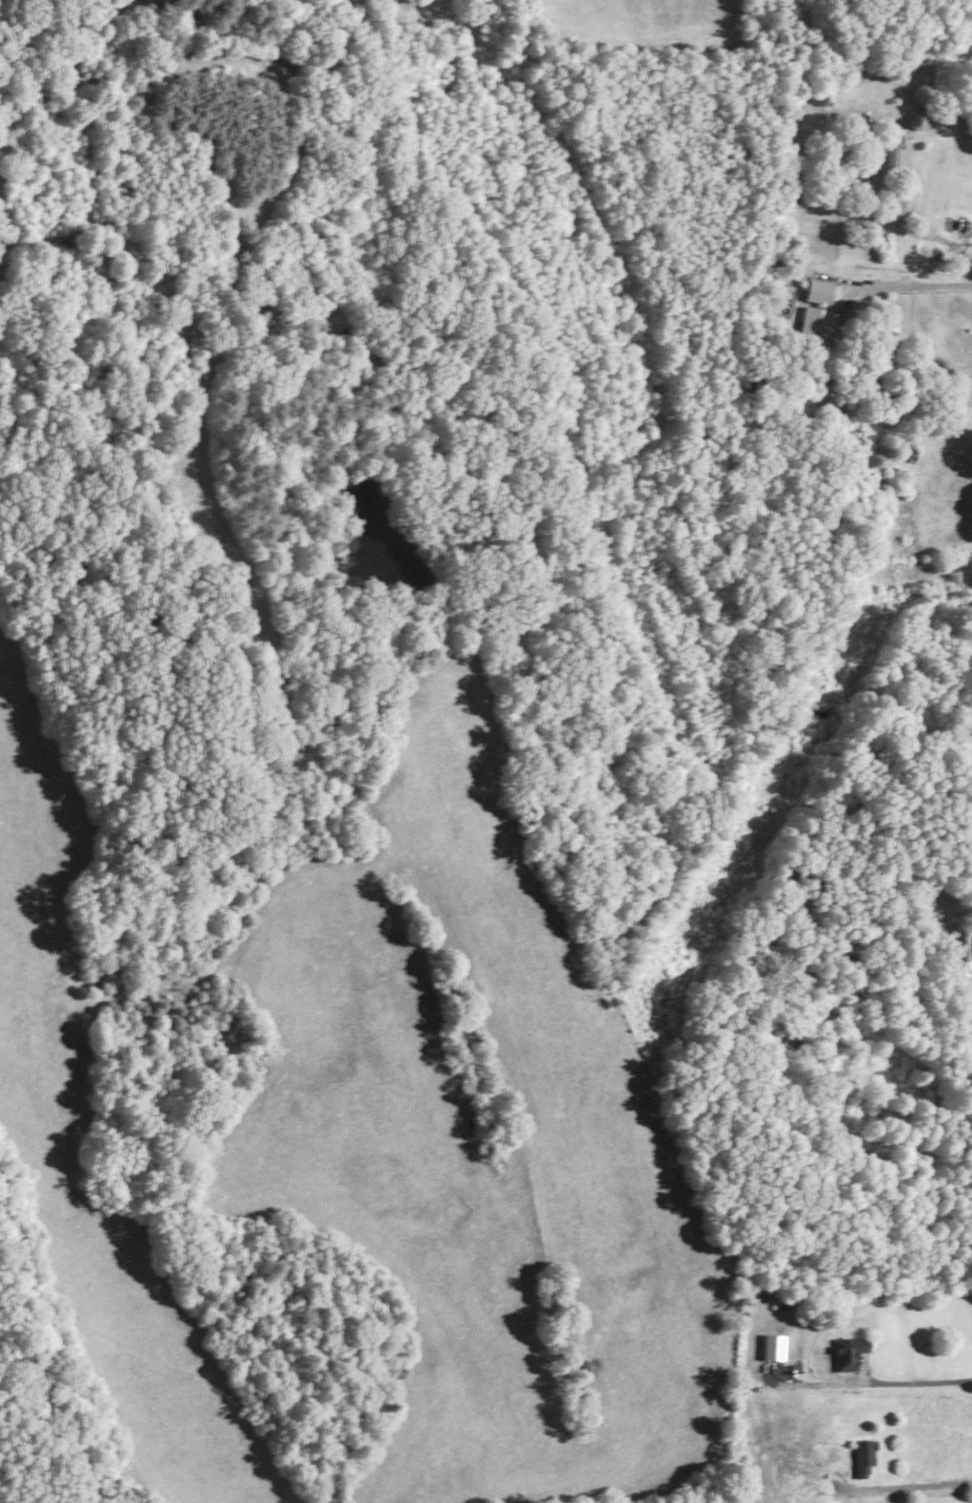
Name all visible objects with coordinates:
road: (911, 280)
building: (818, 290)
building: (816, 326)
building: (961, 948)
building: (773, 1346)
building: (848, 1352)
road: (922, 1380)
building: (863, 1456)
road: (919, 1486)

